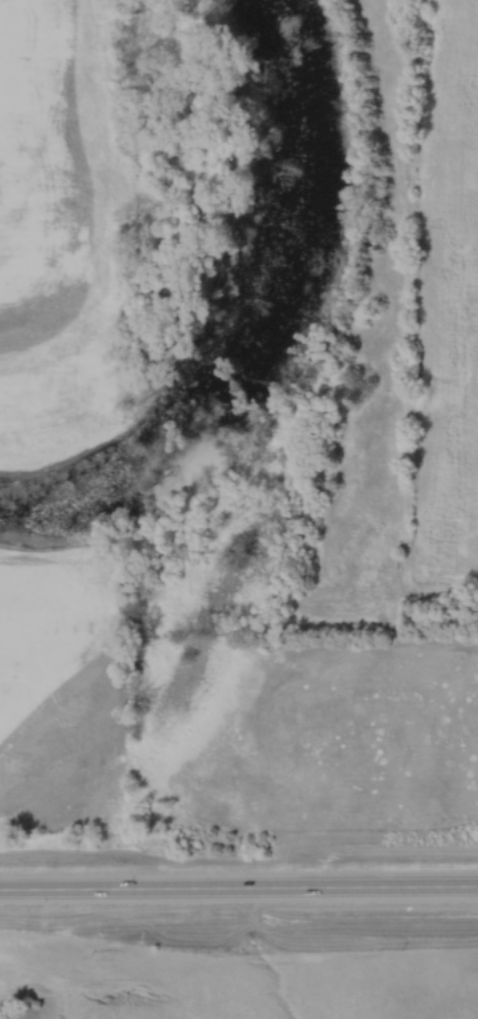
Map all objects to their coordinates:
road: (239, 884)

